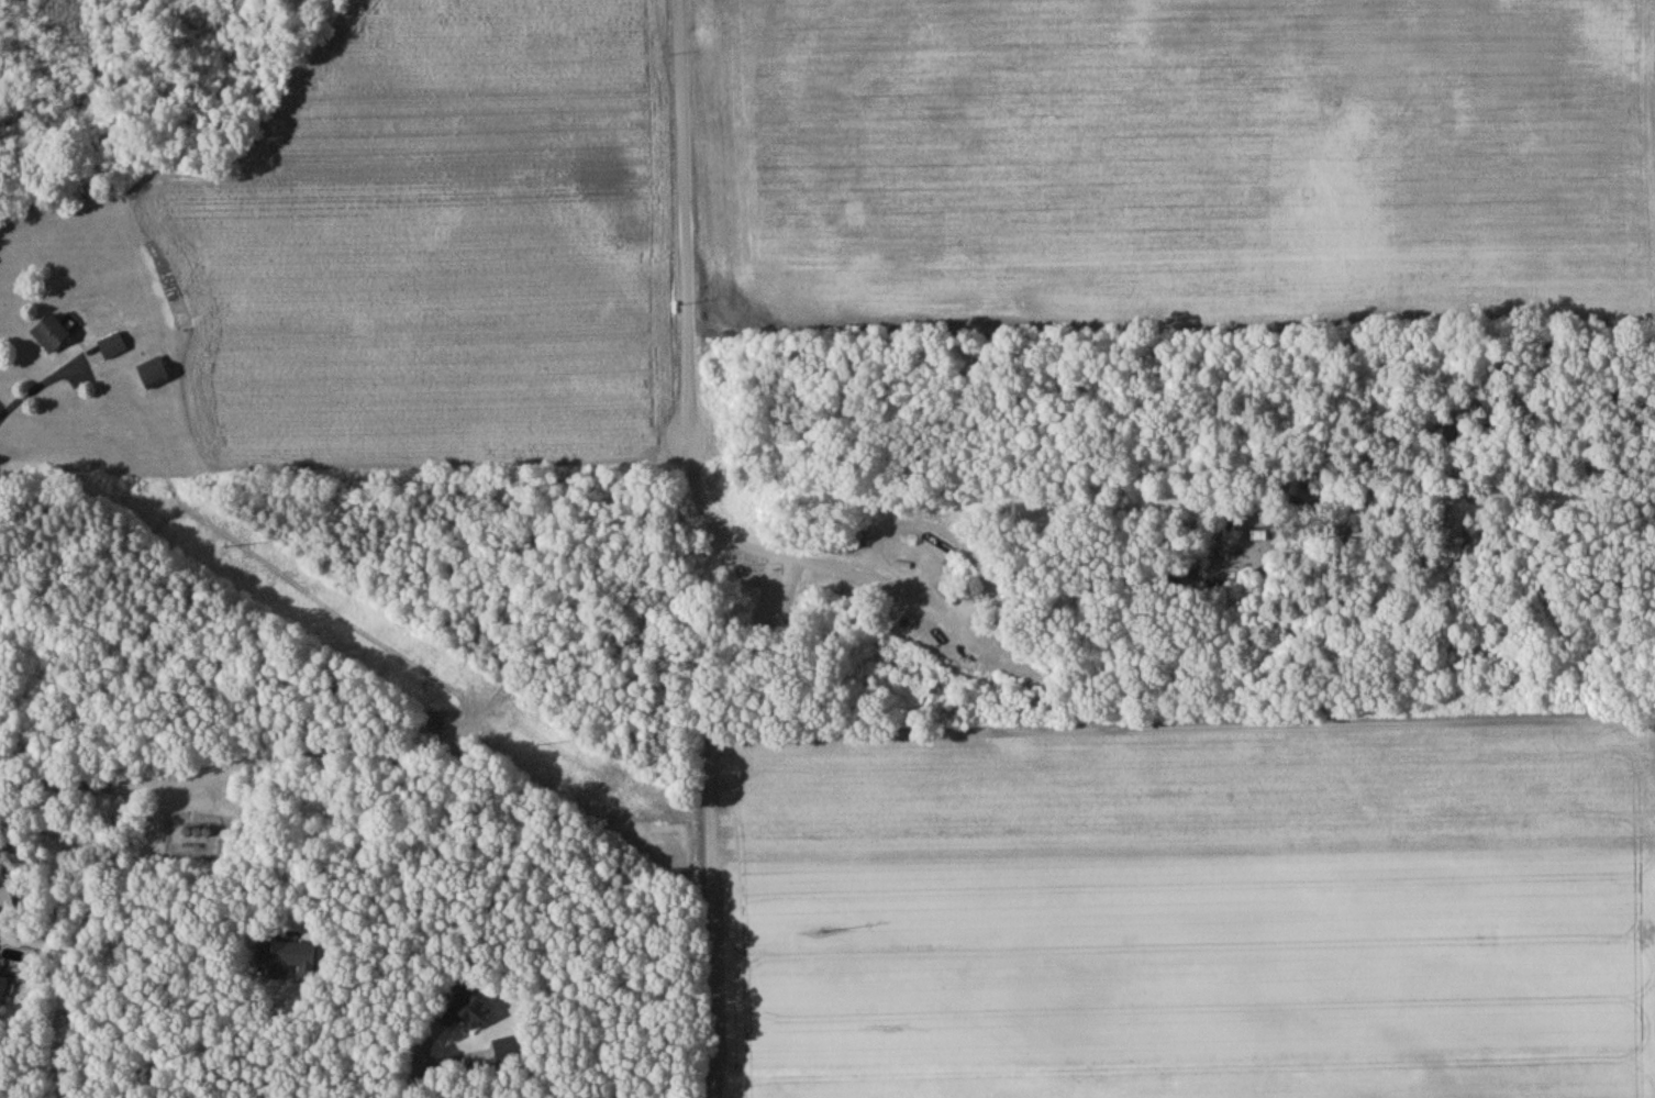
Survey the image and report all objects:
building: (53, 336)
building: (114, 348)
road: (41, 384)
road: (686, 401)
building: (1243, 540)
road: (197, 776)
building: (202, 832)
building: (288, 963)
building: (2, 991)
building: (467, 1012)
road: (52, 1034)
road: (274, 1043)
building: (511, 1052)
road: (421, 1058)
road: (421, 1073)

